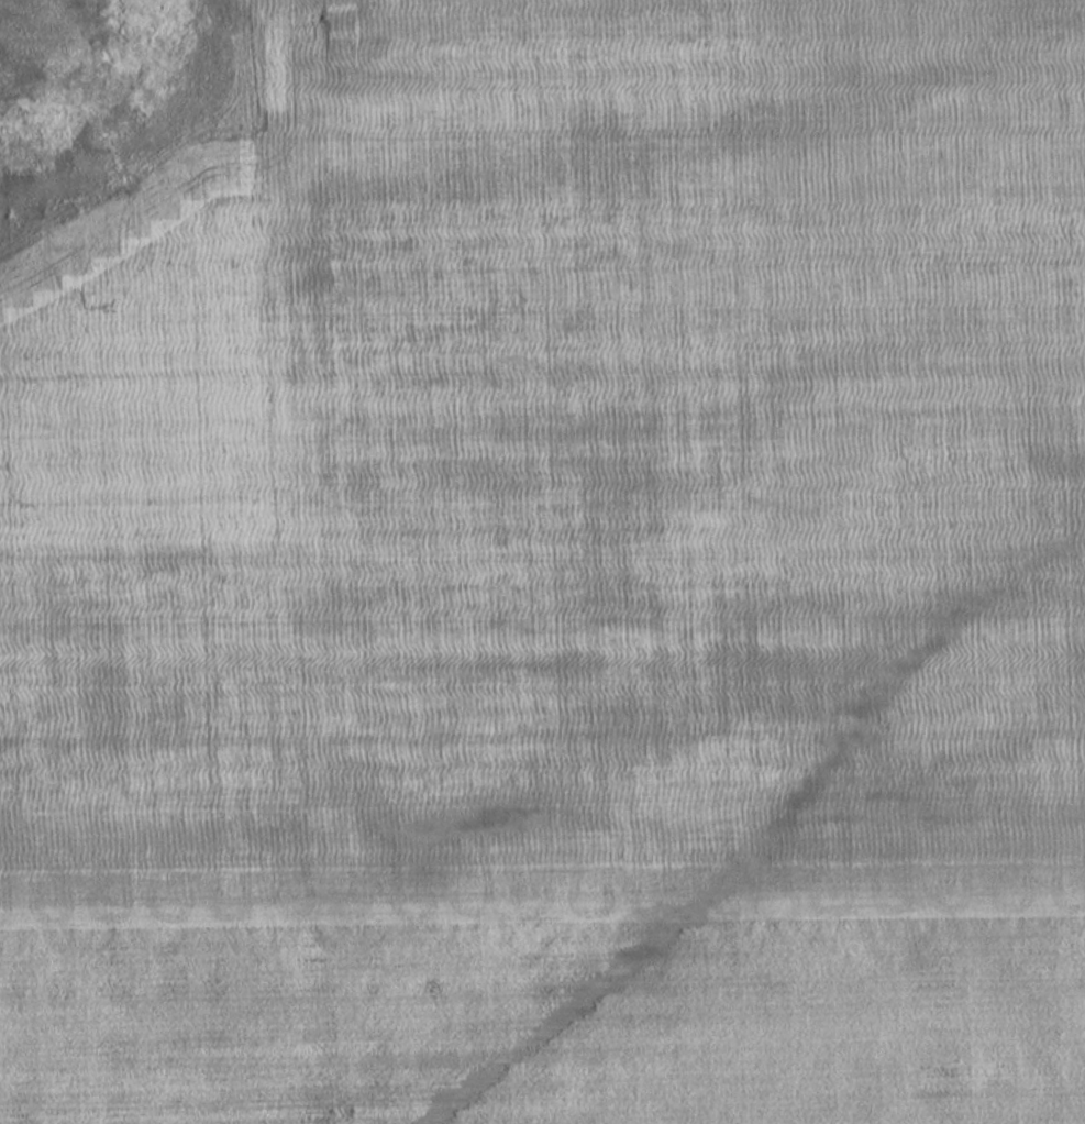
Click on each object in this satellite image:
crop: (562, 583)

